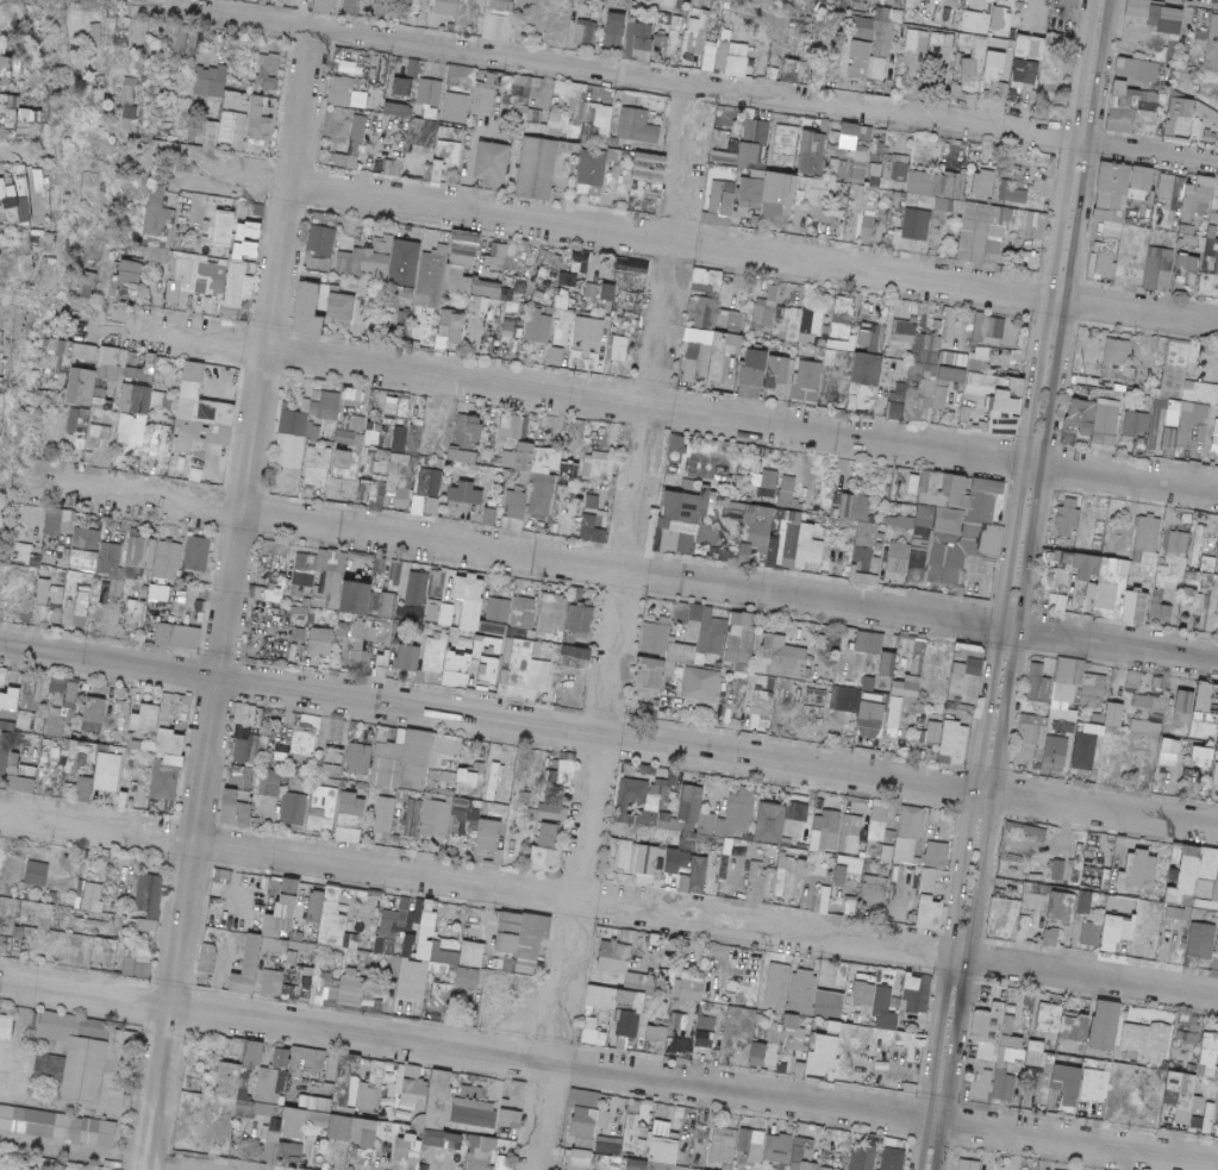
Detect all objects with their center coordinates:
park: (11, 1168)

